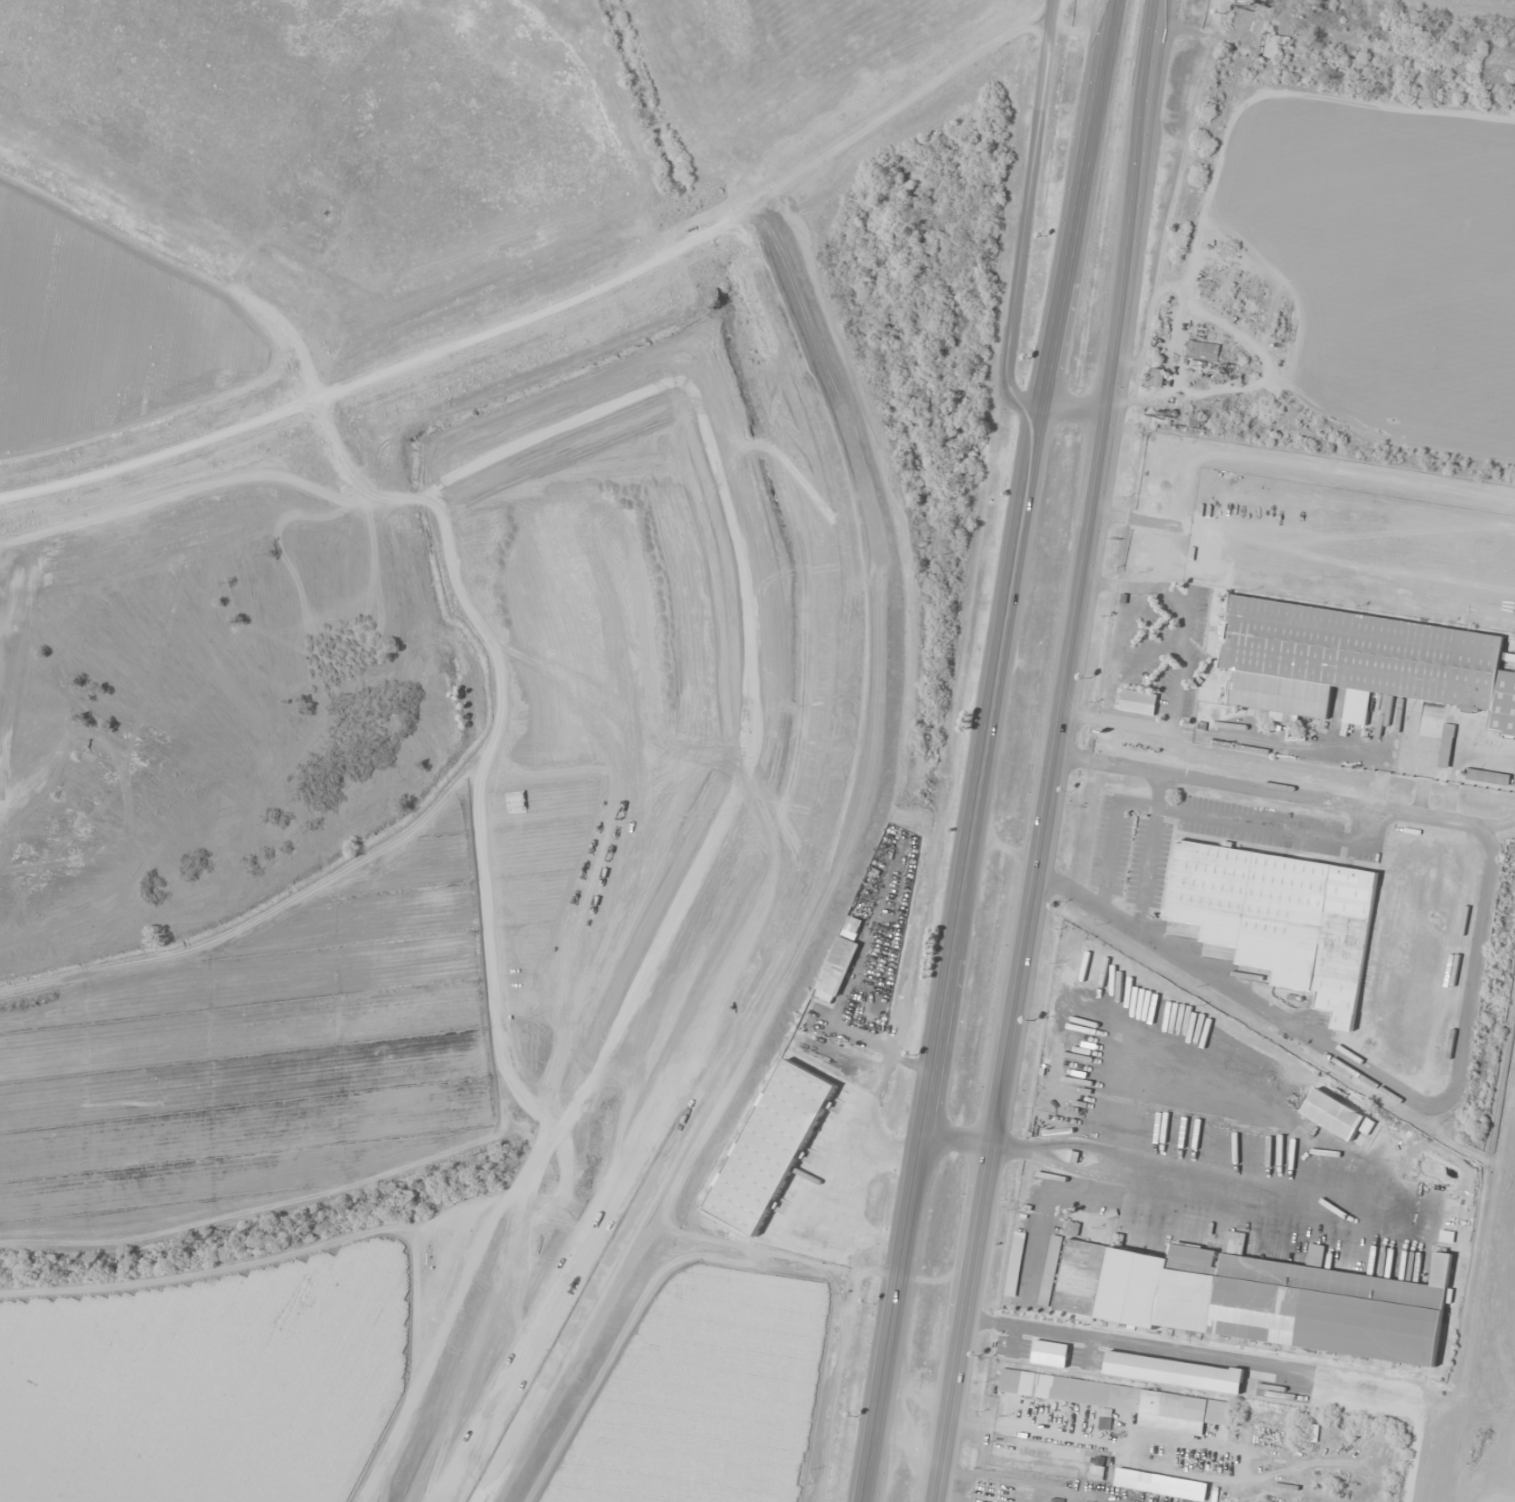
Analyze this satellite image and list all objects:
building: (1271, 45)
building: (1240, 52)
road: (898, 109)
road: (1024, 217)
building: (1202, 351)
building: (1154, 377)
road: (382, 379)
road: (1075, 409)
building: (1191, 419)
building: (1372, 657)
road: (865, 672)
building: (1138, 702)
road: (1047, 750)
road: (992, 751)
building: (1280, 917)
building: (1072, 1228)
road: (639, 1245)
building: (1257, 1298)
building: (1006, 1382)
building: (1187, 1409)
building: (1106, 1412)
road: (524, 1431)
building: (1018, 1490)
building: (1056, 1500)

